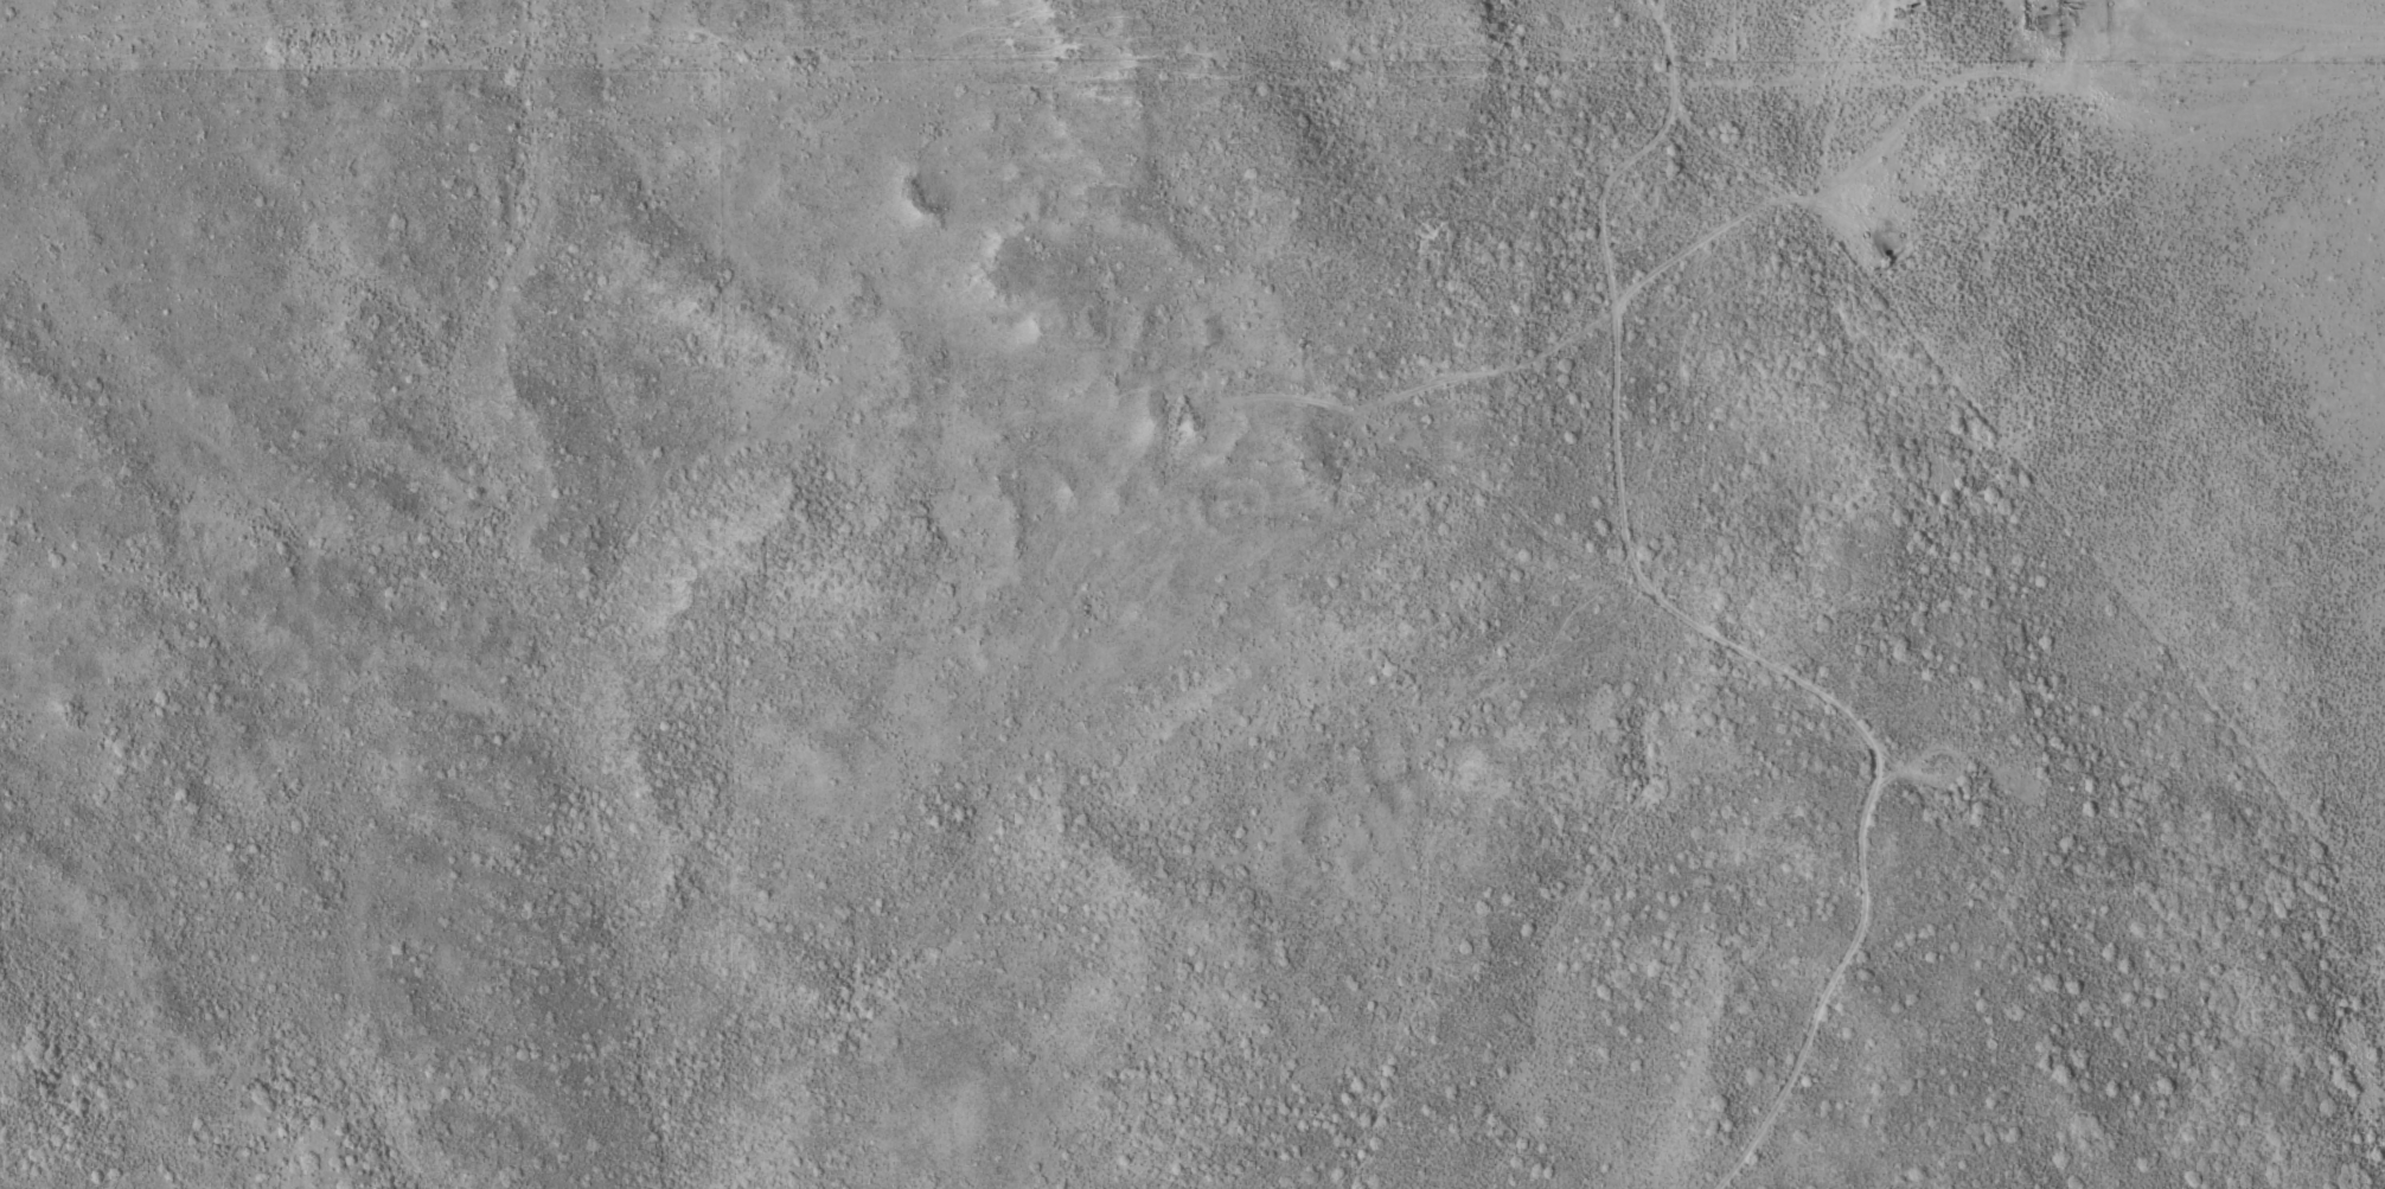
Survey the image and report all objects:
road: (2338, 17)
road: (1694, 628)

